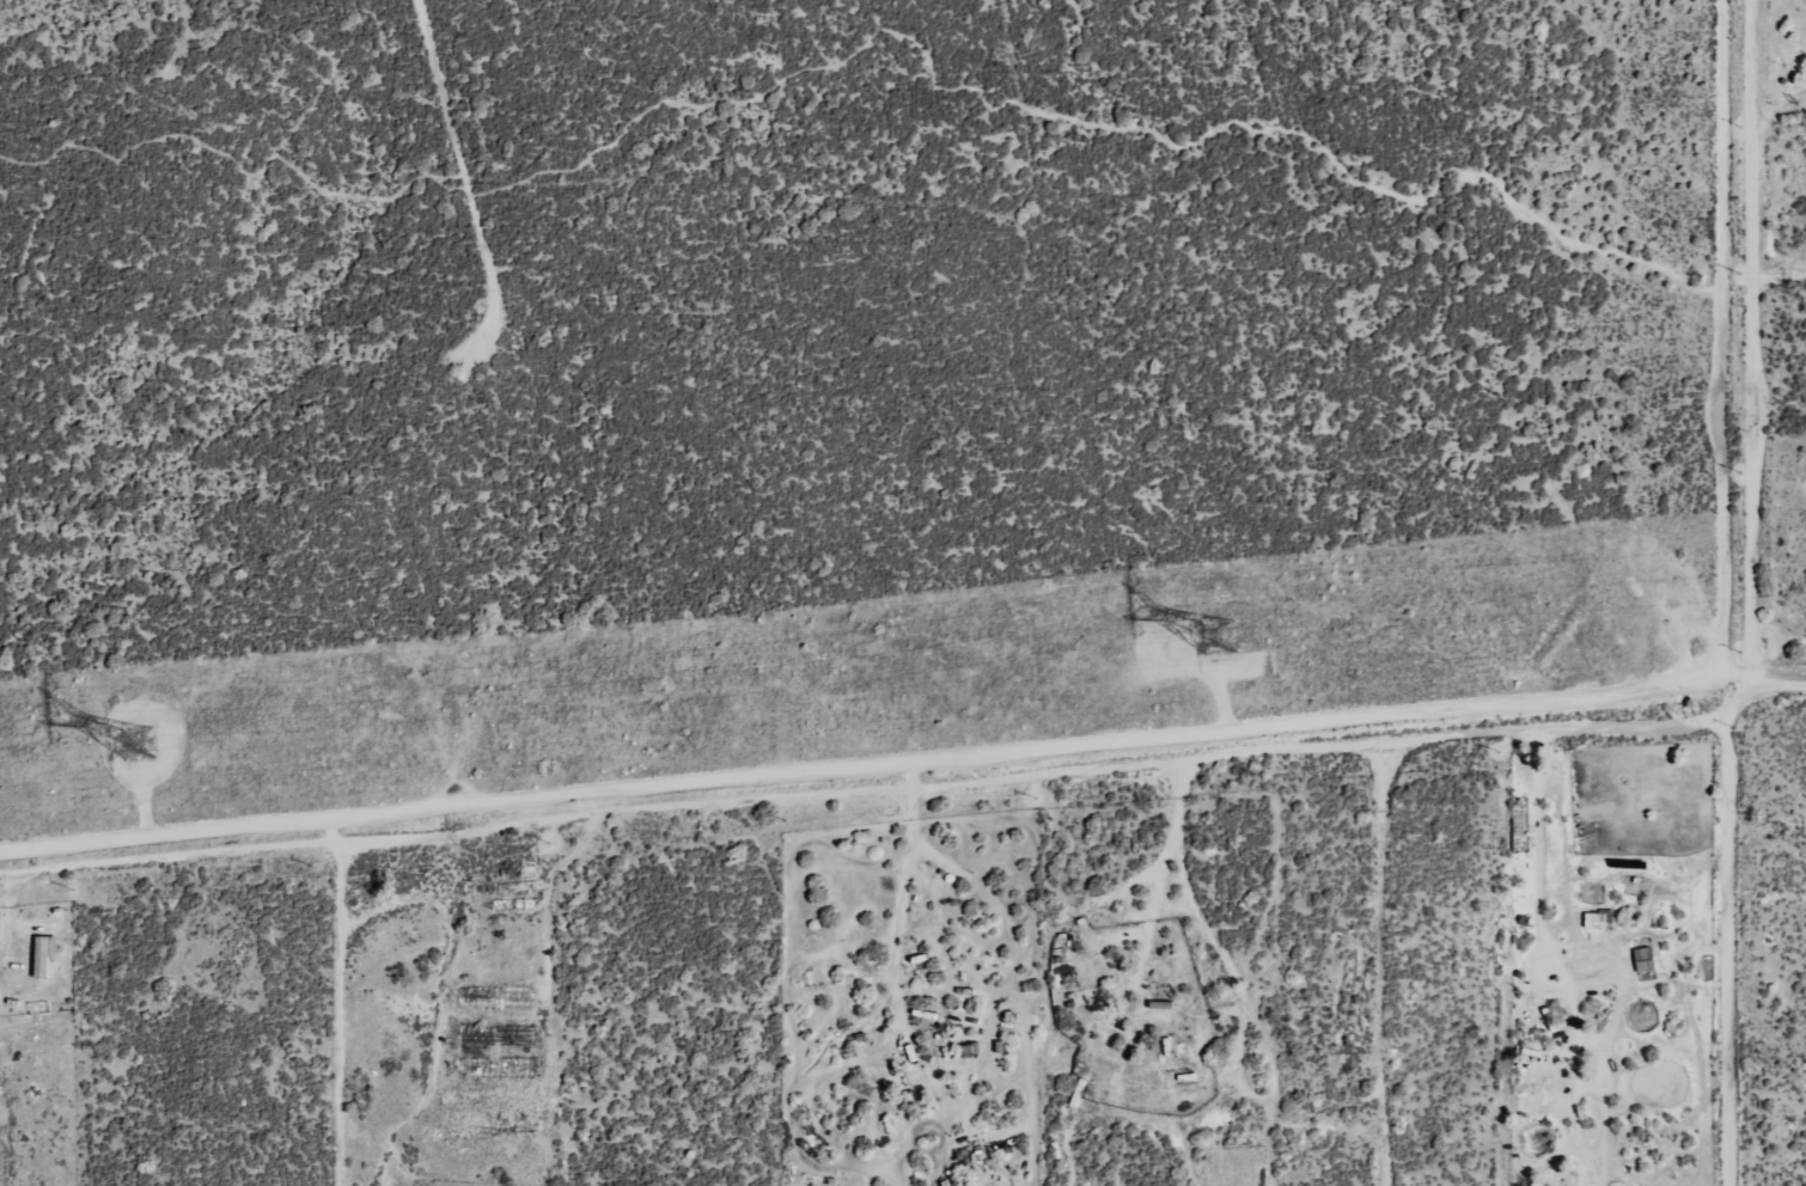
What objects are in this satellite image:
road: (1732, 337)
power tower: (1219, 636)
road: (1771, 680)
power tower: (139, 742)
road: (871, 769)
building: (1599, 919)

